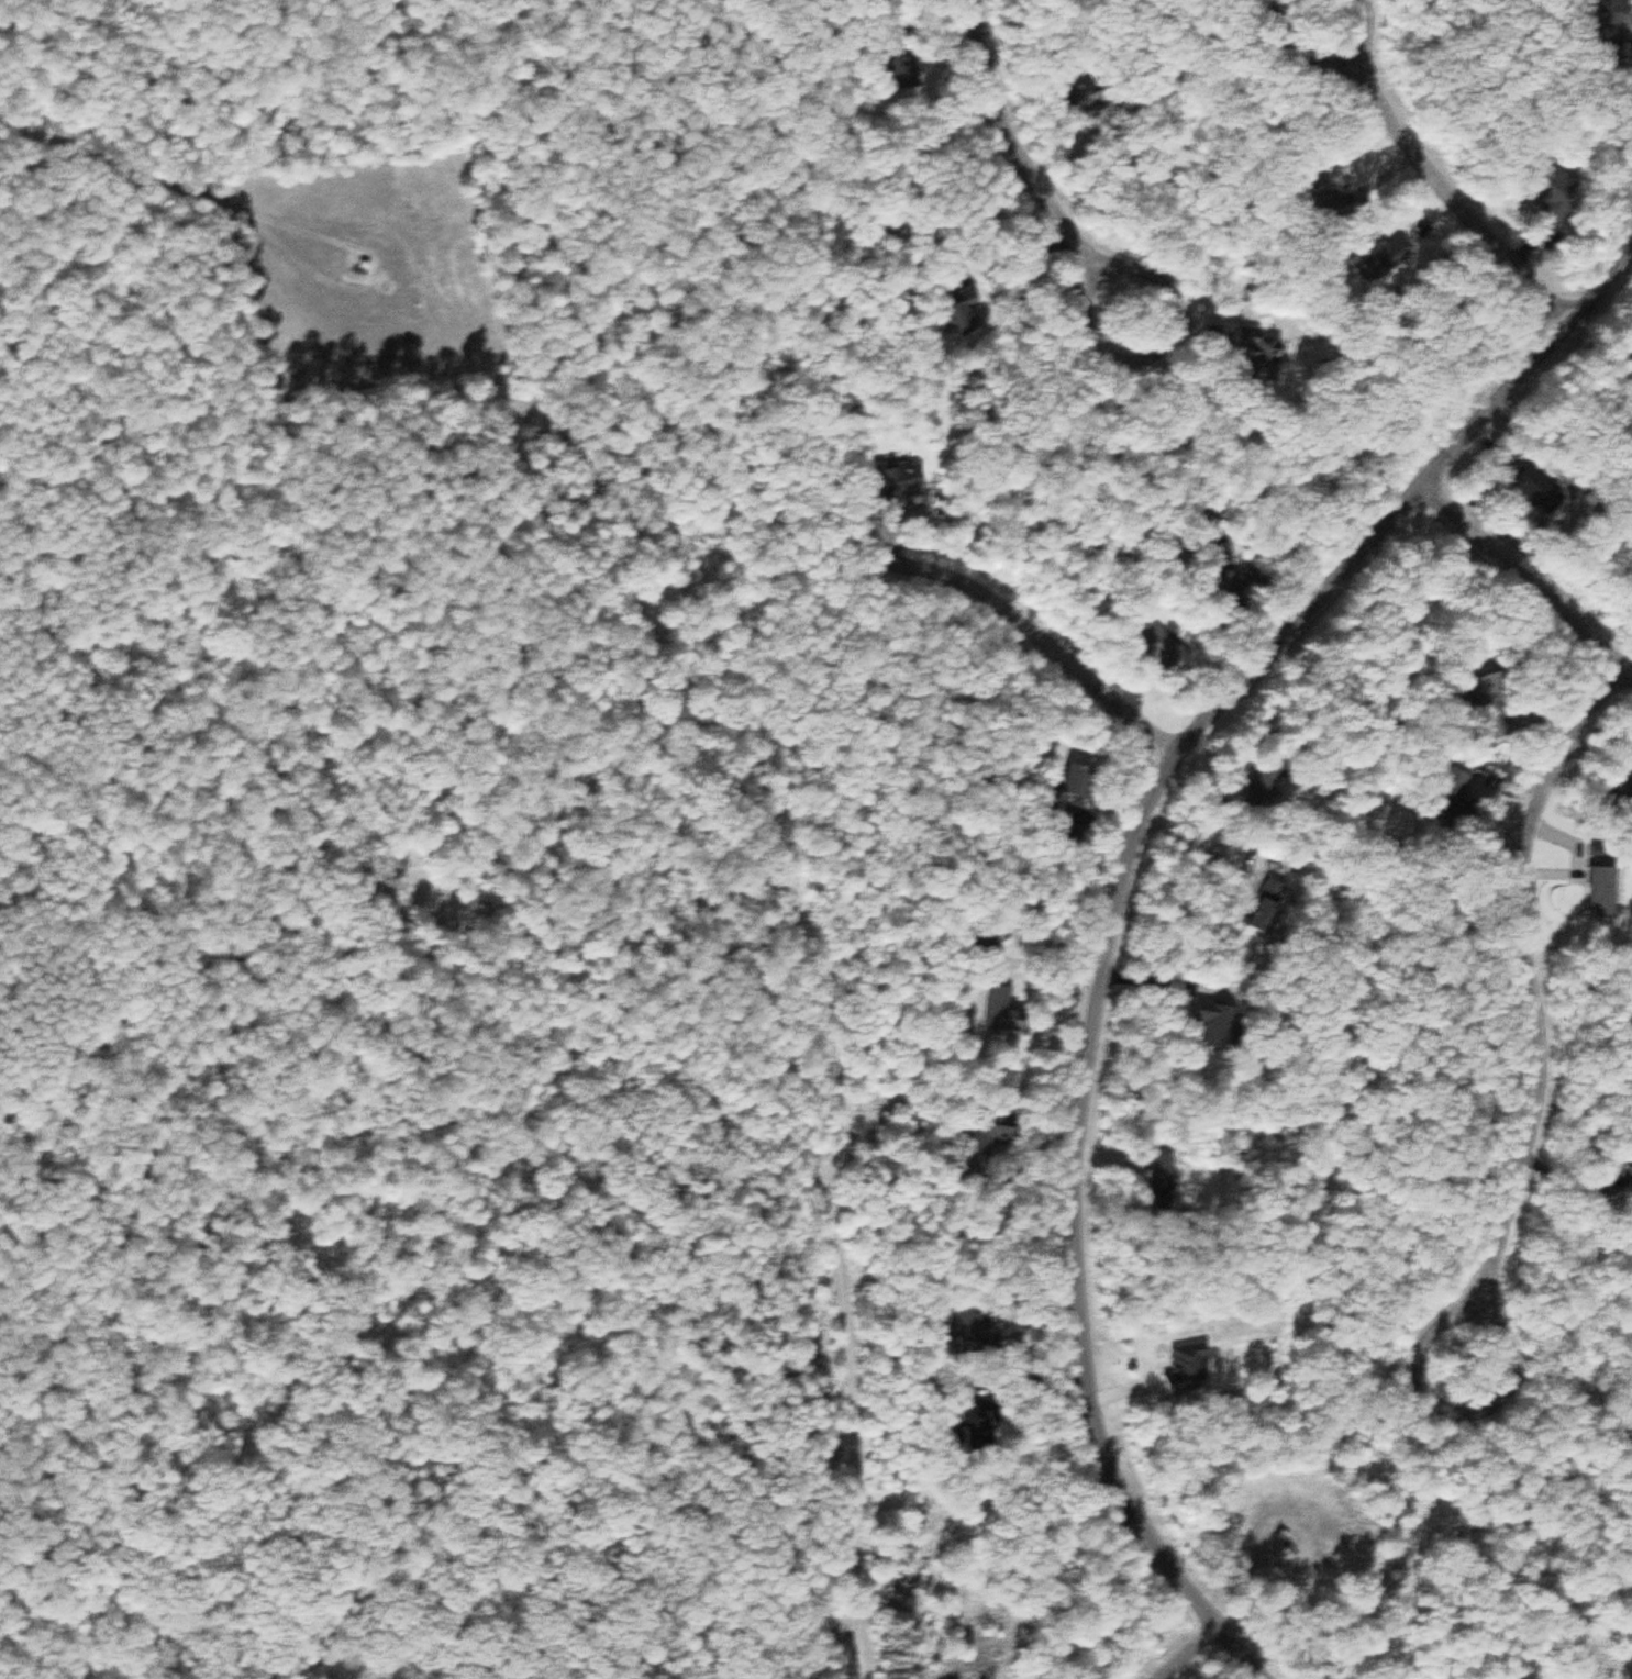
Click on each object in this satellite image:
road: (1363, 41)
road: (1302, 54)
building: (915, 74)
road: (1007, 141)
road: (152, 177)
building: (1331, 182)
road: (1459, 216)
building: (1394, 252)
petroleum well: (362, 271)
building: (967, 315)
road: (1154, 344)
building: (1265, 348)
road: (1524, 381)
building: (1529, 481)
building: (904, 483)
road: (1523, 581)
road: (1040, 637)
building: (1164, 648)
building: (1085, 780)
building: (1264, 789)
road: (1584, 853)
road: (1529, 980)
building: (1007, 1010)
road: (1088, 1056)
building: (991, 1135)
building: (1631, 1166)
building: (1166, 1181)
building: (979, 1327)
building: (1189, 1370)
road: (1458, 1413)
building: (987, 1431)
building: (1291, 1545)
road: (1186, 1652)

